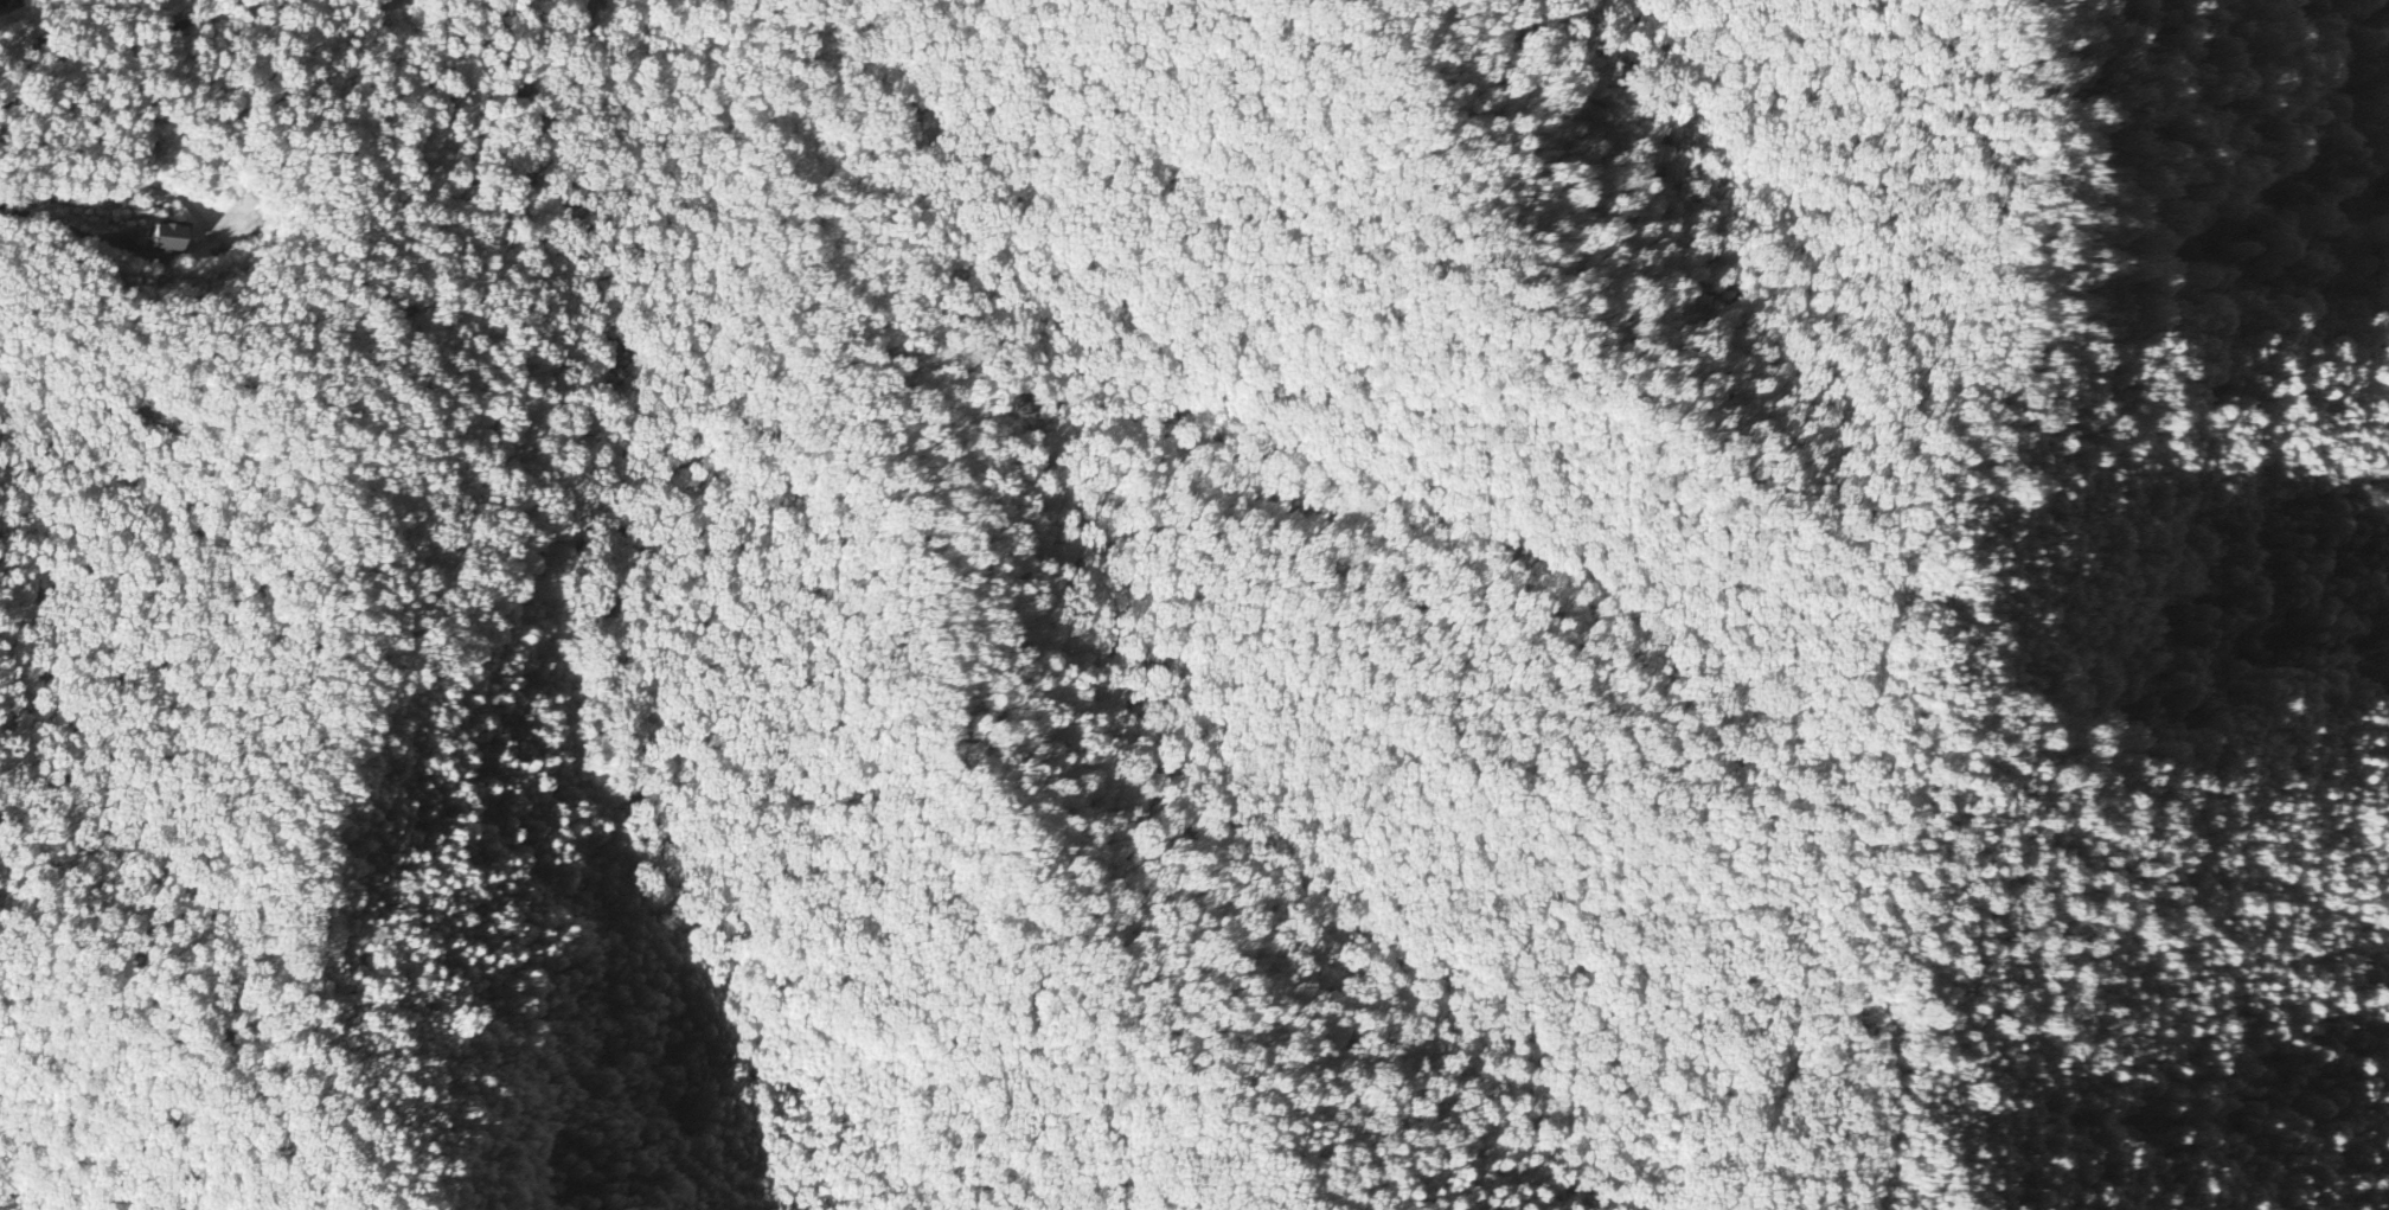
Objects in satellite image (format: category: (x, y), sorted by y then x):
road: (109, 45)
road: (6, 203)
building: (167, 235)

